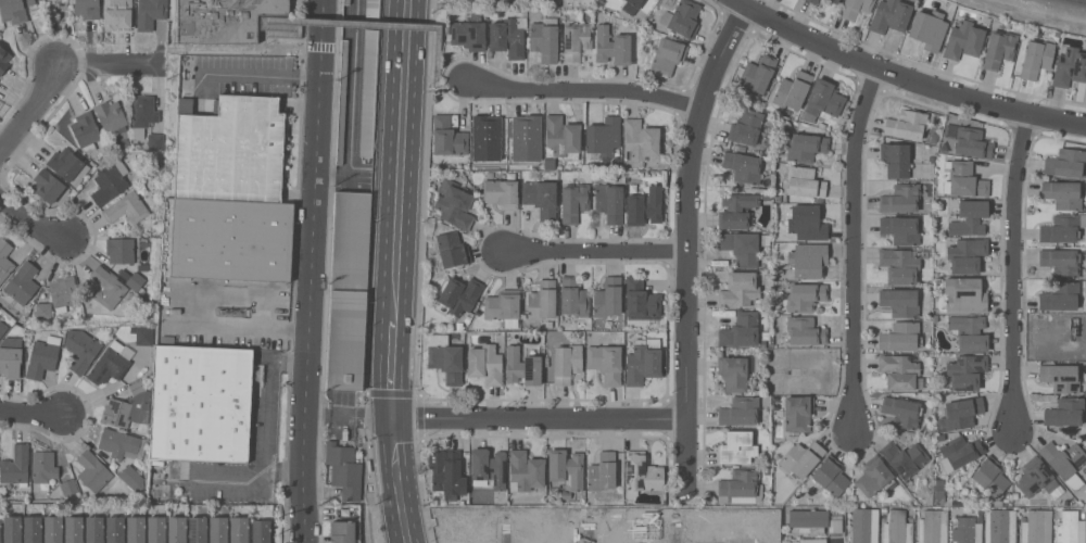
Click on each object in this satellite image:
building: (41, 0)
building: (812, 1)
building: (833, 1)
railway: (1082, 1)
building: (632, 5)
building: (87, 8)
building: (855, 8)
building: (371, 9)
building: (14, 10)
building: (357, 10)
building: (117, 13)
building: (150, 13)
building: (889, 15)
building: (682, 17)
building: (223, 18)
road: (362, 23)
building: (927, 28)
building: (469, 33)
building: (506, 37)
building: (544, 39)
building: (963, 39)
building: (576, 41)
building: (611, 46)
road: (190, 48)
building: (999, 48)
building: (668, 54)
building: (1036, 58)
building: (3, 59)
building: (1070, 66)
building: (757, 74)
road: (907, 74)
road: (258, 75)
road: (454, 81)
building: (122, 90)
road: (586, 90)
building: (793, 90)
building: (368, 92)
building: (822, 100)
building: (341, 103)
road: (33, 110)
building: (142, 114)
building: (111, 116)
building: (906, 124)
building: (748, 128)
building: (86, 130)
building: (561, 135)
building: (603, 136)
building: (447, 137)
building: (484, 137)
building: (525, 137)
building: (640, 139)
building: (155, 141)
building: (125, 142)
building: (971, 142)
building: (103, 144)
building: (806, 147)
building: (249, 149)
building: (193, 152)
building: (99, 154)
building: (895, 159)
road: (400, 160)
building: (1065, 162)
building: (65, 163)
building: (743, 166)
building: (965, 179)
road: (313, 180)
building: (804, 181)
building: (110, 182)
building: (47, 185)
building: (501, 192)
building: (1062, 193)
building: (541, 198)
building: (900, 198)
building: (66, 201)
building: (573, 201)
building: (609, 202)
building: (454, 203)
building: (644, 205)
building: (126, 207)
building: (737, 209)
building: (969, 217)
road: (30, 220)
building: (807, 223)
building: (1062, 227)
building: (900, 228)
building: (231, 239)
road: (687, 243)
building: (742, 247)
road: (855, 247)
building: (452, 249)
building: (121, 250)
road: (597, 253)
building: (967, 254)
building: (4, 258)
building: (807, 258)
building: (1060, 262)
building: (898, 265)
road: (1014, 270)
building: (136, 280)
building: (22, 282)
building: (108, 287)
building: (349, 289)
building: (738, 289)
building: (63, 292)
building: (964, 294)
building: (458, 295)
building: (805, 295)
building: (1059, 295)
building: (573, 296)
building: (607, 296)
building: (542, 300)
building: (642, 300)
building: (900, 301)
building: (503, 304)
building: (43, 310)
road: (189, 313)
petroleum well: (1073, 327)
building: (2, 328)
building: (740, 329)
building: (805, 330)
building: (969, 331)
building: (142, 334)
building: (899, 336)
building: (80, 349)
building: (42, 356)
building: (11, 357)
building: (445, 357)
road: (287, 359)
building: (643, 361)
building: (566, 362)
building: (605, 362)
building: (109, 363)
building: (485, 363)
building: (522, 366)
road: (393, 369)
building: (965, 370)
building: (899, 371)
building: (733, 372)
building: (1060, 376)
road: (305, 388)
building: (201, 406)
building: (128, 407)
building: (740, 411)
building: (797, 412)
building: (901, 412)
building: (962, 412)
building: (1064, 412)
road: (31, 413)
road: (350, 414)
traffic signals: (392, 419)
road: (540, 420)
road: (266, 441)
building: (121, 443)
road: (310, 446)
building: (737, 446)
building: (960, 450)
building: (801, 457)
building: (904, 457)
building: (1064, 462)
building: (15, 465)
building: (43, 466)
building: (489, 466)
building: (343, 469)
building: (565, 469)
building: (92, 470)
building: (525, 470)
building: (602, 472)
building: (641, 473)
building: (445, 475)
building: (831, 476)
building: (874, 476)
building: (990, 476)
building: (1035, 477)
building: (132, 478)
road: (220, 480)
road: (396, 481)
building: (740, 485)
building: (68, 487)
road: (311, 512)
building: (808, 519)
building: (0, 526)
building: (835, 526)
building: (933, 526)
building: (999, 526)
building: (1036, 527)
building: (13, 528)
building: (862, 528)
building: (897, 528)
building: (1070, 528)
building: (33, 529)
building: (53, 529)
building: (73, 529)
building: (93, 529)
building: (115, 529)
building: (136, 529)
building: (156, 529)
building: (177, 529)
building: (198, 529)
building: (218, 529)
building: (239, 529)
building: (3, 530)
building: (261, 531)
building: (343, 531)
building: (967, 531)
road: (585, 535)
road: (503, 536)
road: (678, 538)
building: (812, 540)

